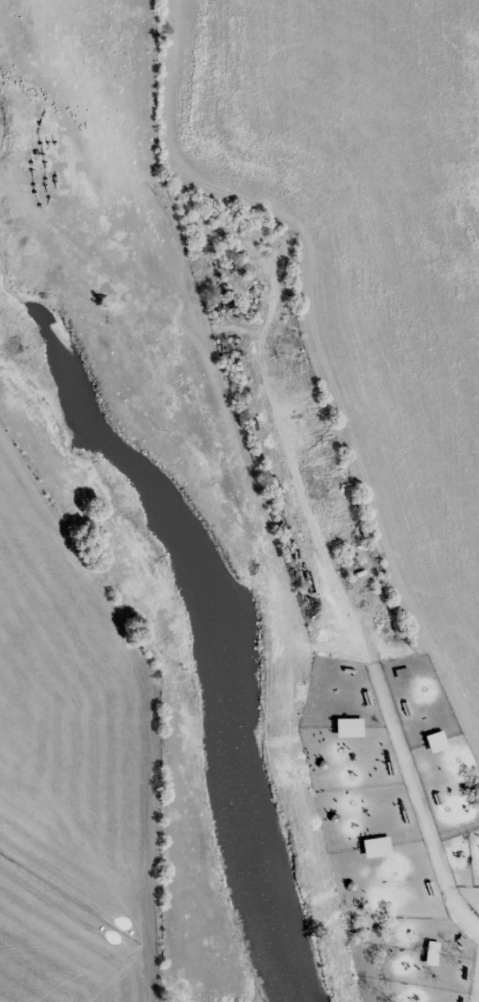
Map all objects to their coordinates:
building: (402, 674)

